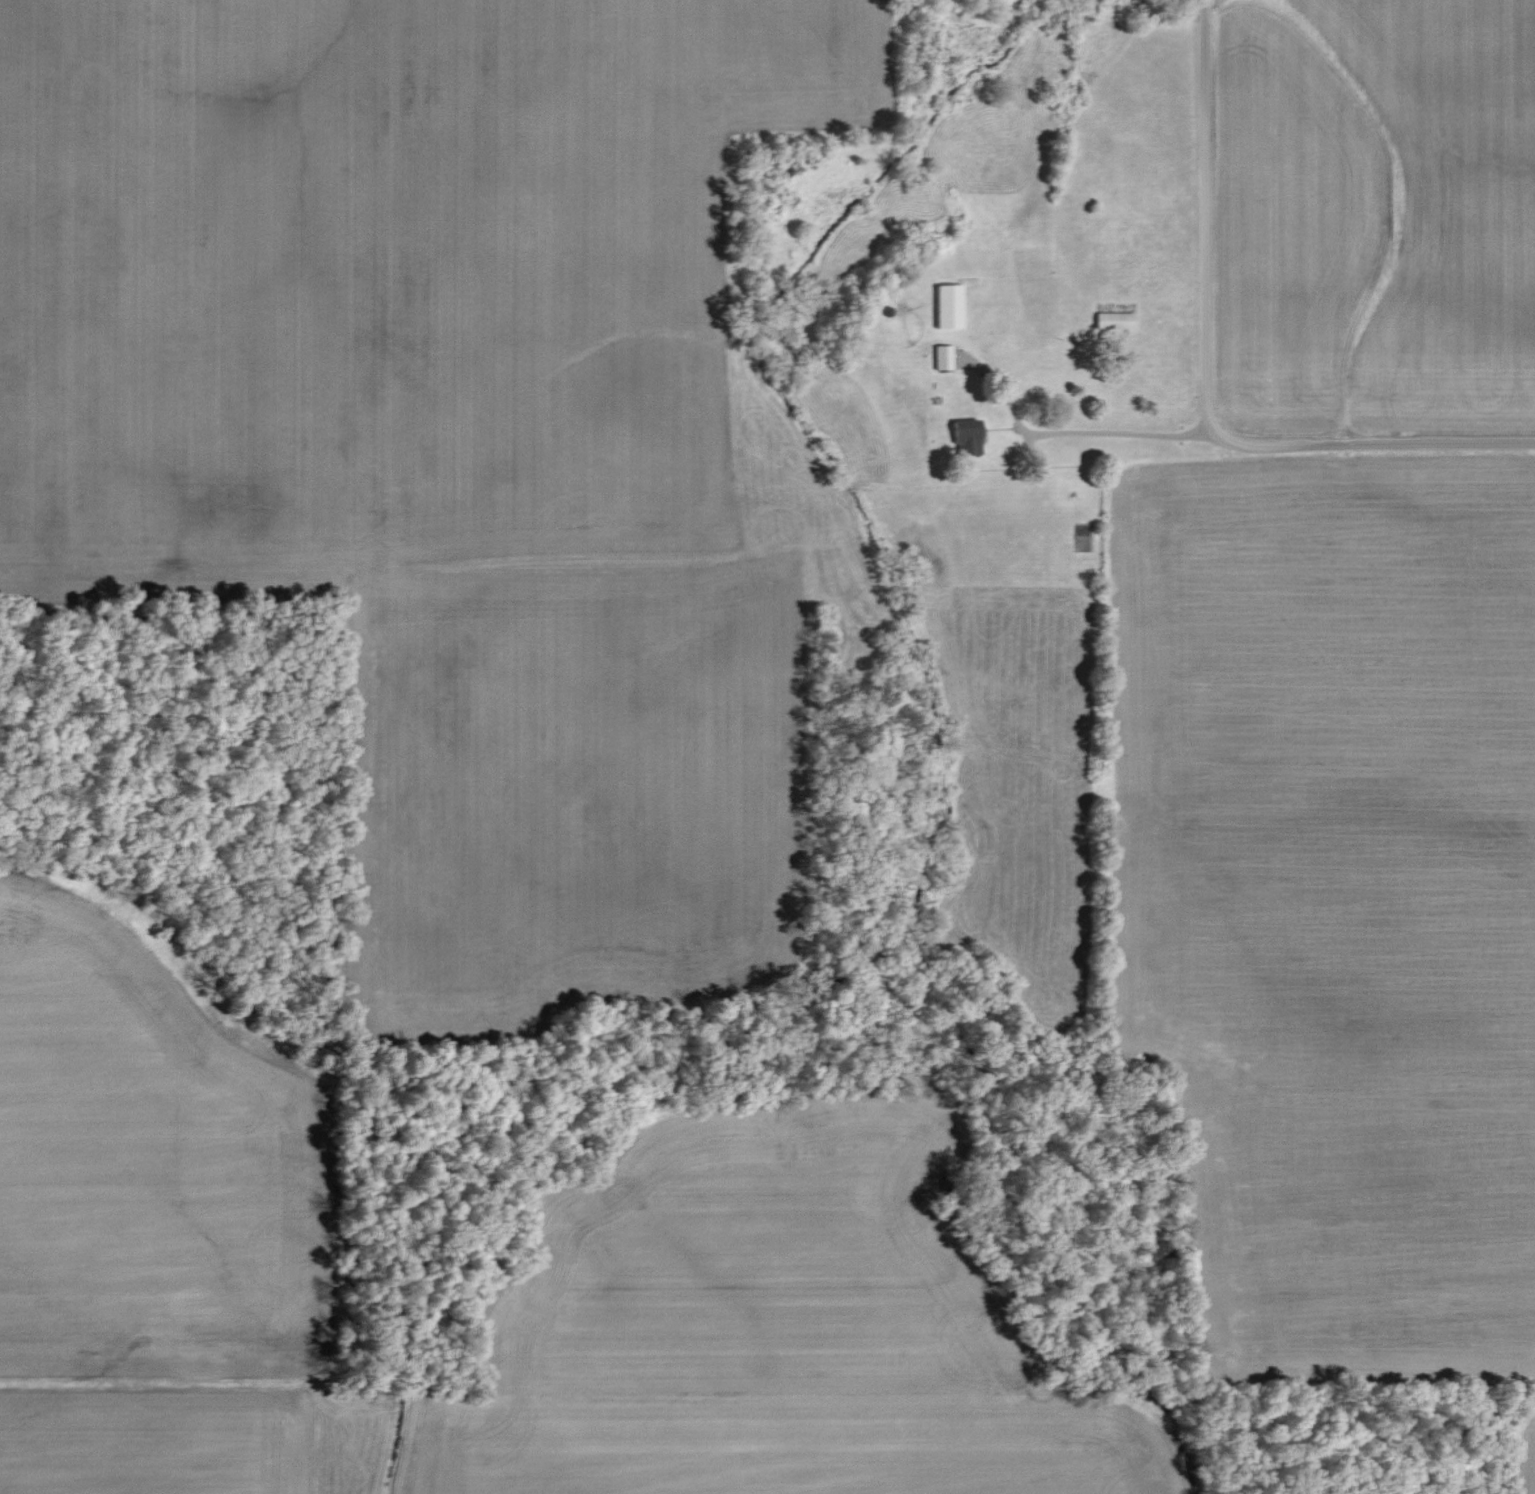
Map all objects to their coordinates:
road: (1202, 212)
building: (950, 306)
building: (1116, 320)
building: (945, 357)
road: (1116, 432)
building: (969, 437)
road: (1368, 442)

